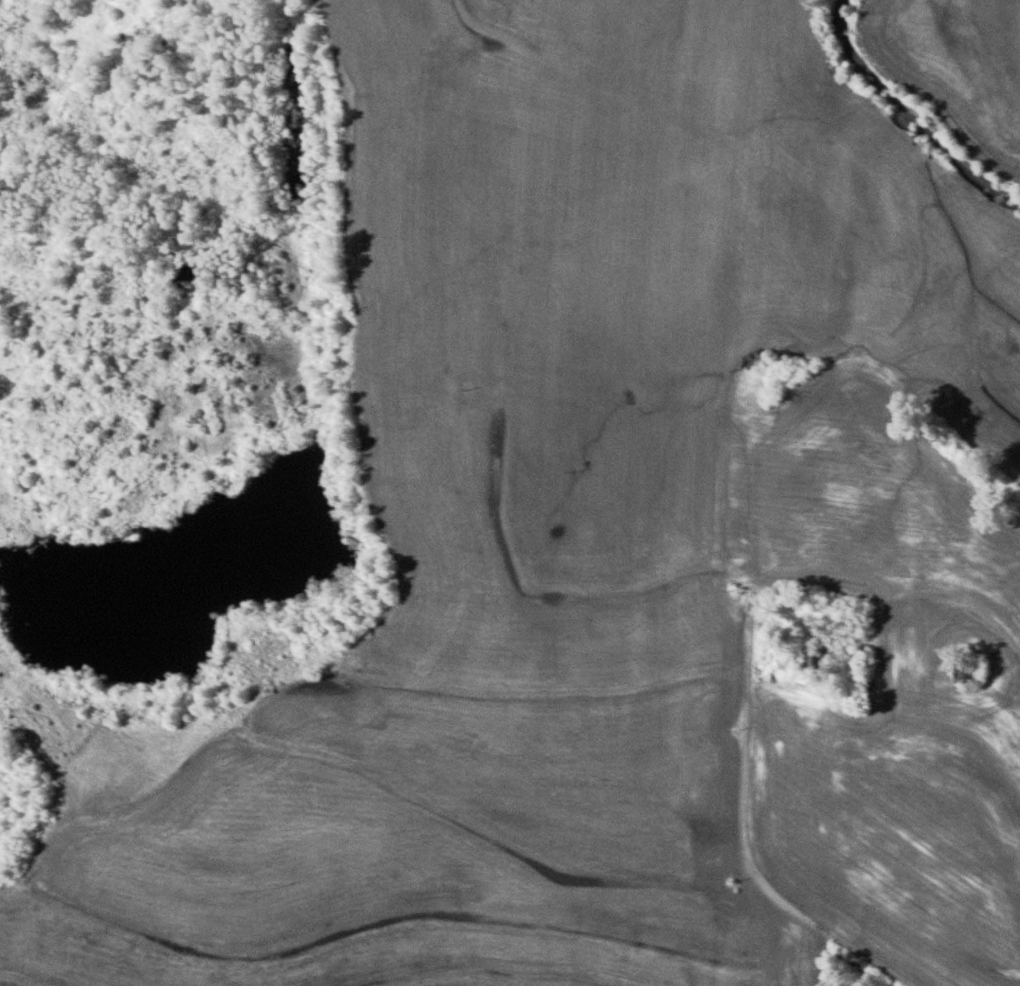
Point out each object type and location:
river: (972, 81)
building: (857, 613)
building: (817, 657)
building: (970, 673)
road: (743, 840)

